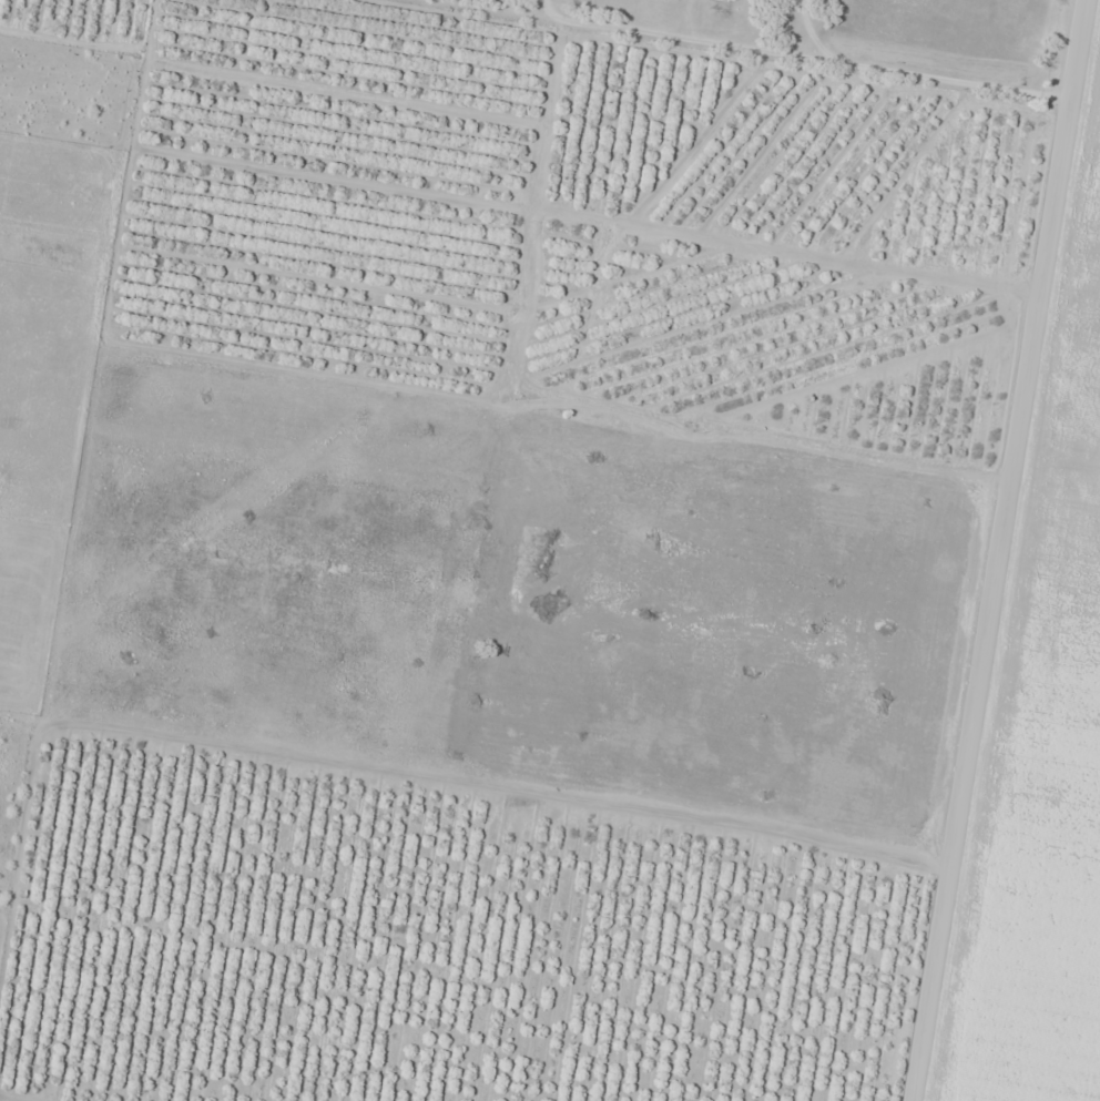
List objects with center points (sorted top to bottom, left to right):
road: (994, 550)

